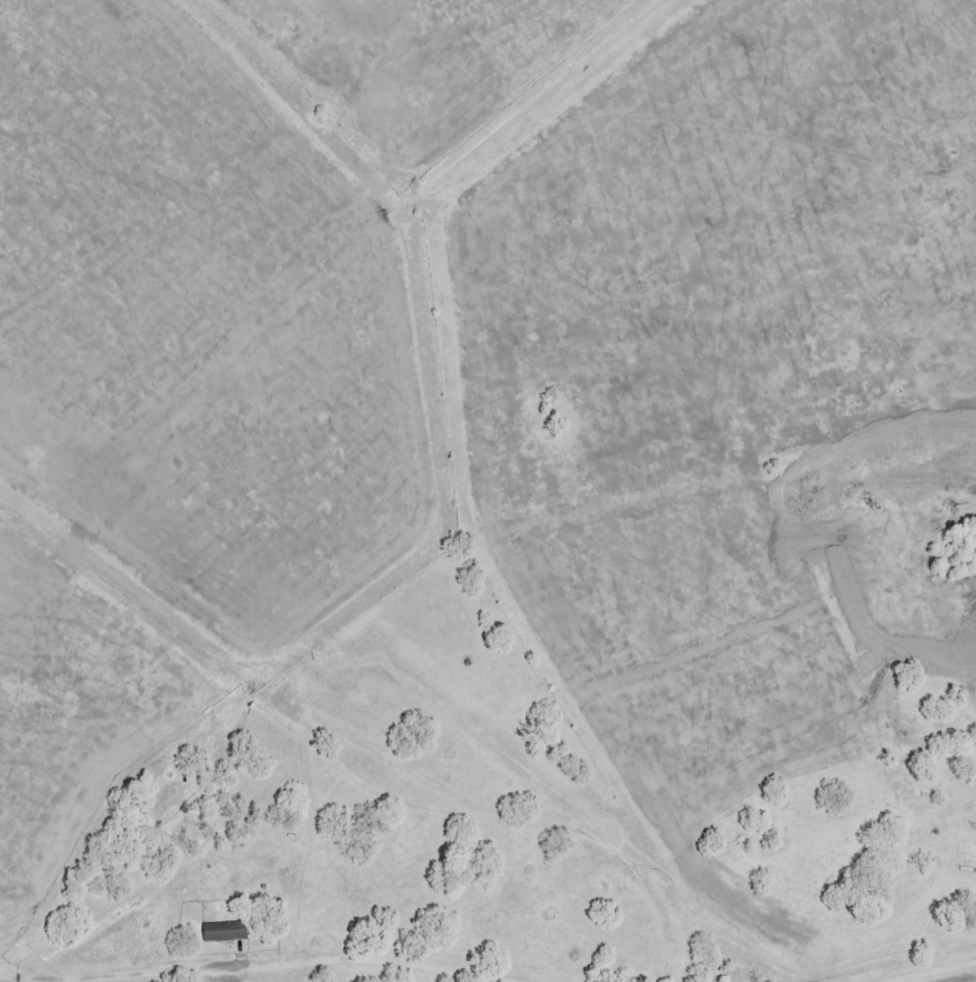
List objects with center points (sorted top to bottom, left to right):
building: (222, 930)
road: (255, 966)
road: (927, 971)

